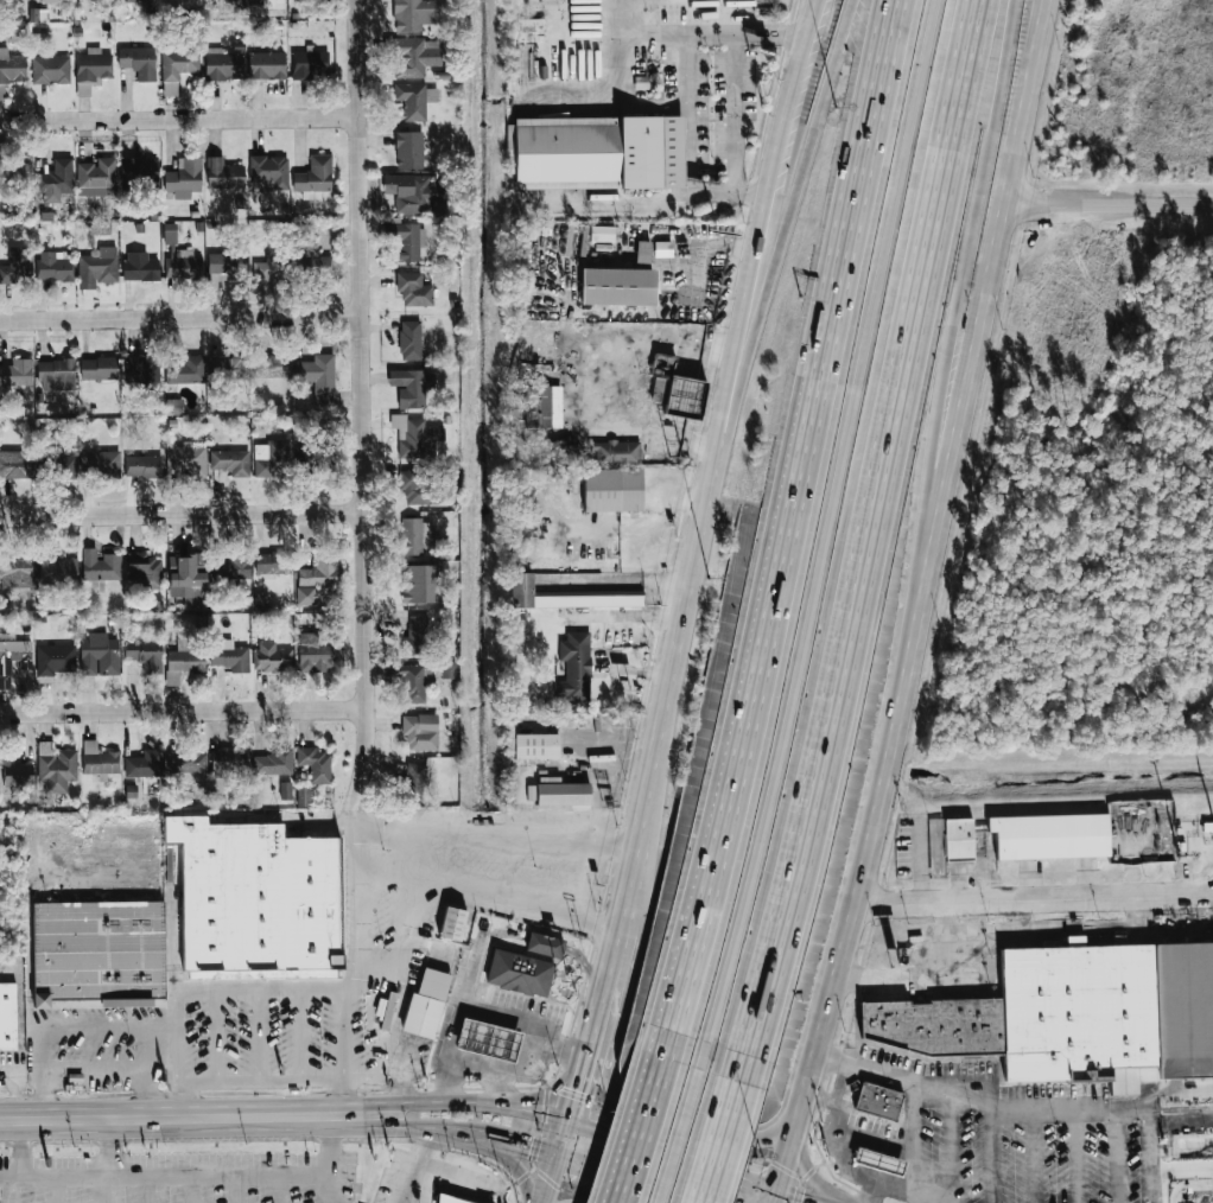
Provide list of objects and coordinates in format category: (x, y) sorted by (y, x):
building: (55, 0)
building: (132, 1)
building: (265, 4)
building: (413, 14)
building: (529, 30)
road: (678, 34)
building: (412, 55)
building: (177, 63)
building: (310, 64)
building: (135, 65)
building: (267, 65)
building: (223, 66)
building: (91, 69)
building: (11, 70)
building: (50, 70)
road: (687, 71)
road: (736, 74)
building: (412, 101)
road: (637, 109)
road: (178, 119)
building: (408, 149)
building: (601, 152)
building: (268, 171)
building: (14, 173)
building: (140, 174)
building: (223, 174)
building: (183, 176)
building: (315, 176)
building: (95, 177)
building: (53, 180)
building: (414, 192)
road: (661, 205)
road: (1107, 206)
road: (785, 219)
building: (99, 229)
building: (602, 233)
building: (170, 234)
building: (404, 240)
building: (663, 249)
building: (642, 252)
building: (15, 265)
building: (55, 266)
building: (140, 266)
building: (313, 267)
building: (183, 268)
building: (96, 269)
building: (227, 269)
building: (267, 269)
building: (618, 286)
building: (409, 289)
road: (179, 317)
building: (409, 339)
road: (955, 356)
building: (256, 367)
building: (99, 369)
building: (15, 371)
building: (183, 371)
building: (55, 373)
building: (144, 373)
building: (317, 377)
building: (408, 388)
building: (677, 389)
road: (362, 403)
building: (173, 406)
building: (538, 407)
building: (412, 439)
building: (616, 454)
building: (315, 458)
building: (186, 460)
building: (271, 460)
building: (229, 462)
building: (100, 463)
building: (62, 464)
building: (14, 465)
building: (142, 466)
road: (710, 480)
building: (419, 488)
building: (610, 491)
road: (182, 513)
road: (785, 530)
building: (411, 536)
road: (827, 536)
road: (869, 543)
building: (271, 565)
building: (101, 566)
building: (15, 567)
building: (230, 567)
building: (185, 569)
building: (144, 571)
building: (319, 571)
building: (57, 572)
building: (413, 585)
building: (572, 591)
road: (921, 600)
building: (417, 636)
building: (316, 654)
building: (100, 656)
building: (145, 656)
building: (271, 657)
building: (229, 660)
building: (53, 661)
building: (183, 663)
building: (12, 664)
building: (574, 667)
building: (447, 669)
building: (414, 683)
road: (183, 709)
building: (420, 733)
building: (538, 746)
building: (97, 760)
building: (229, 760)
building: (142, 763)
building: (185, 763)
building: (273, 763)
building: (316, 764)
building: (55, 769)
building: (14, 774)
building: (413, 781)
building: (286, 791)
building: (564, 794)
road: (487, 835)
building: (1050, 836)
building: (959, 840)
building: (935, 847)
road: (472, 896)
building: (256, 900)
road: (1034, 902)
road: (358, 906)
building: (455, 923)
building: (1074, 941)
road: (546, 943)
building: (546, 944)
road: (478, 947)
building: (99, 953)
road: (589, 967)
building: (520, 972)
road: (921, 978)
road: (279, 987)
road: (472, 1004)
building: (7, 1016)
building: (424, 1016)
building: (1072, 1016)
road: (602, 1020)
road: (97, 1026)
road: (383, 1033)
road: (176, 1036)
building: (490, 1039)
road: (529, 1057)
road: (94, 1067)
road: (491, 1072)
road: (362, 1080)
road: (280, 1081)
traffic signals: (585, 1091)
road: (584, 1097)
road: (1010, 1100)
building: (878, 1101)
road: (837, 1102)
road: (554, 1115)
road: (161, 1116)
road: (382, 1124)
road: (685, 1125)
road: (637, 1129)
traffic signals: (609, 1132)
road: (464, 1133)
road: (675, 1135)
road: (720, 1144)
road: (110, 1145)
road: (23, 1146)
road: (916, 1146)
road: (952, 1146)
traffic signals: (531, 1148)
road: (995, 1151)
road: (1034, 1152)
road: (1077, 1154)
road: (1149, 1154)
road: (324, 1159)
road: (805, 1159)
road: (564, 1161)
building: (878, 1161)
road: (516, 1164)
road: (590, 1166)
road: (853, 1167)
road: (433, 1169)
road: (161, 1172)
road: (1150, 1185)
road: (55, 1188)
road: (109, 1188)
road: (140, 1188)
road: (189, 1188)
road: (230, 1188)
road: (4, 1189)
road: (871, 1189)
road: (785, 1198)
building: (449, 1199)
road: (770, 1199)

